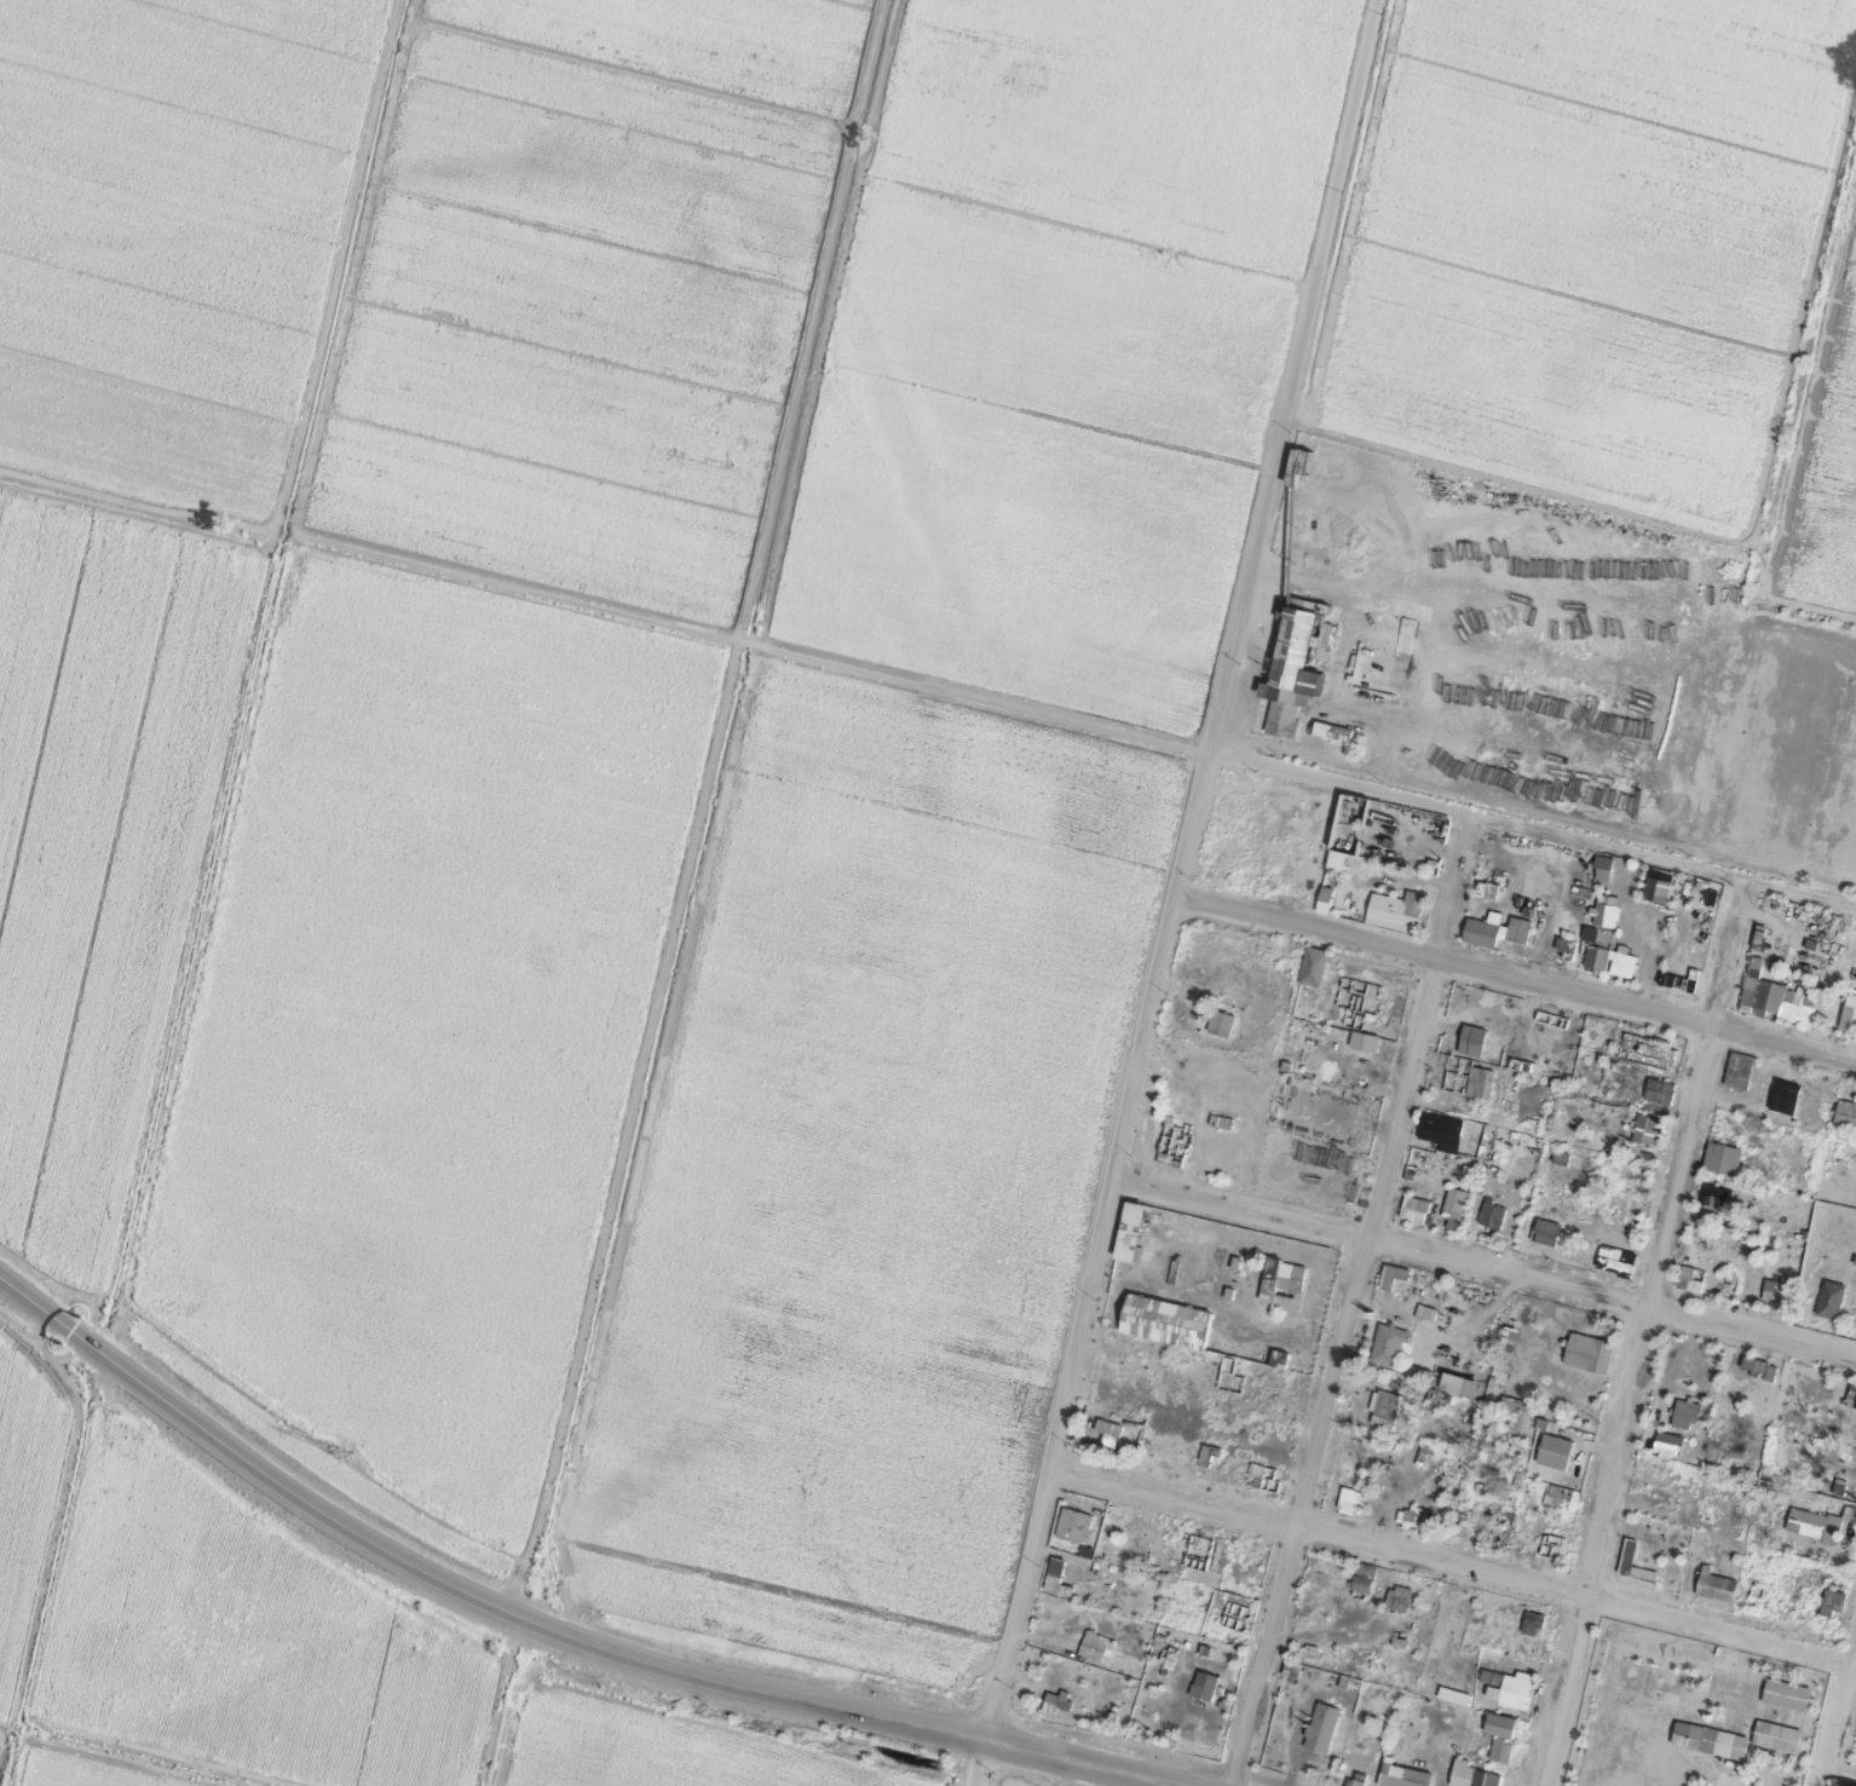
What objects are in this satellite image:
road: (1337, 192)
road: (598, 606)
road: (1526, 826)
road: (1509, 987)
road: (1128, 1065)
road: (1480, 1278)
road: (1345, 1300)
road: (1632, 1331)
road: (1447, 1572)
road: (1850, 1650)
road: (1833, 1692)

